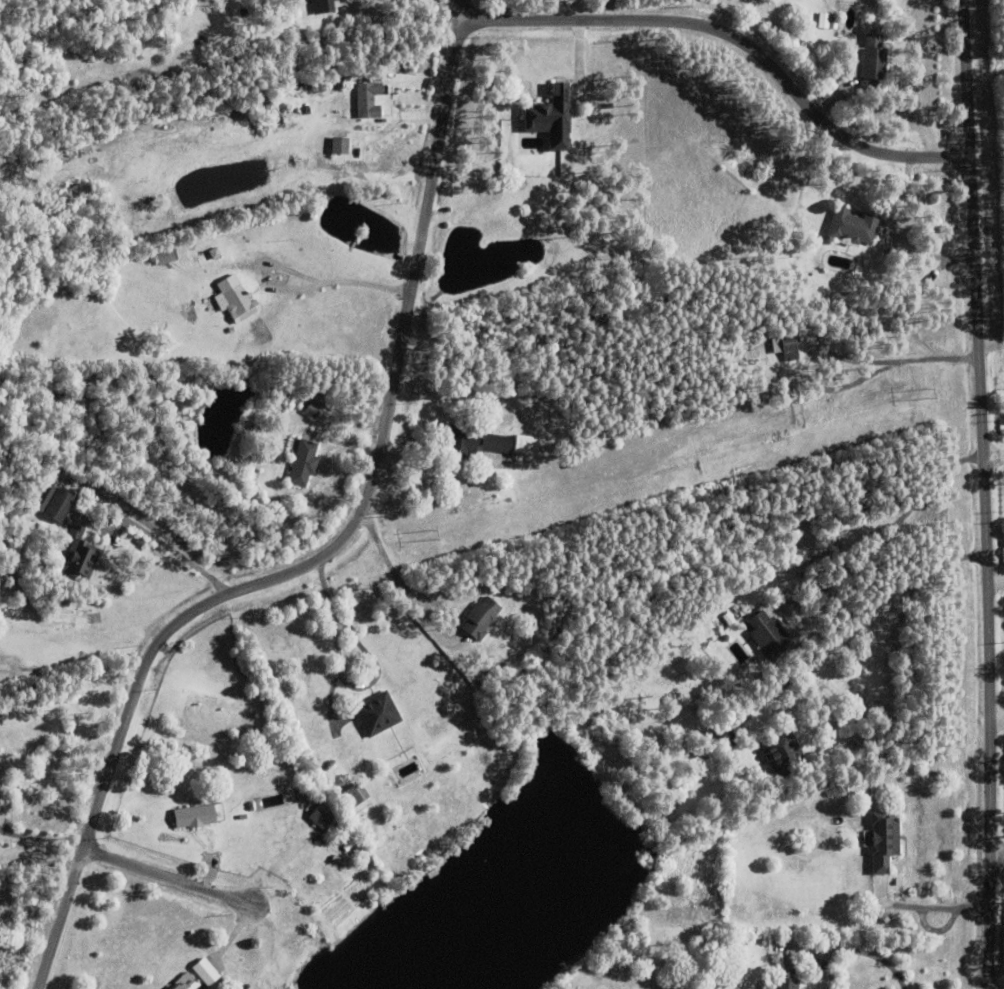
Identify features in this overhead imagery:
building: (322, 5)
road: (471, 11)
building: (833, 19)
road: (743, 41)
building: (320, 43)
building: (869, 60)
building: (369, 93)
building: (554, 116)
building: (330, 123)
building: (337, 143)
building: (852, 226)
building: (116, 243)
building: (214, 251)
building: (166, 255)
road: (339, 281)
building: (235, 298)
building: (789, 344)
road: (992, 344)
building: (280, 393)
building: (289, 397)
building: (314, 404)
building: (473, 440)
building: (599, 442)
building: (526, 444)
road: (994, 459)
building: (304, 462)
building: (570, 463)
road: (986, 494)
building: (58, 505)
road: (172, 548)
road: (329, 551)
building: (80, 558)
road: (997, 580)
road: (401, 584)
building: (480, 617)
building: (730, 617)
road: (856, 620)
building: (767, 634)
building: (725, 638)
road: (345, 672)
building: (377, 713)
road: (998, 716)
building: (723, 736)
building: (702, 751)
building: (782, 751)
building: (379, 787)
building: (844, 788)
building: (884, 789)
building: (830, 790)
building: (353, 796)
building: (306, 800)
building: (891, 807)
building: (194, 816)
building: (321, 816)
building: (302, 817)
building: (883, 840)
road: (998, 851)
road: (176, 879)
road: (852, 950)
building: (758, 968)
building: (205, 972)
building: (785, 978)
building: (185, 982)
building: (168, 988)

